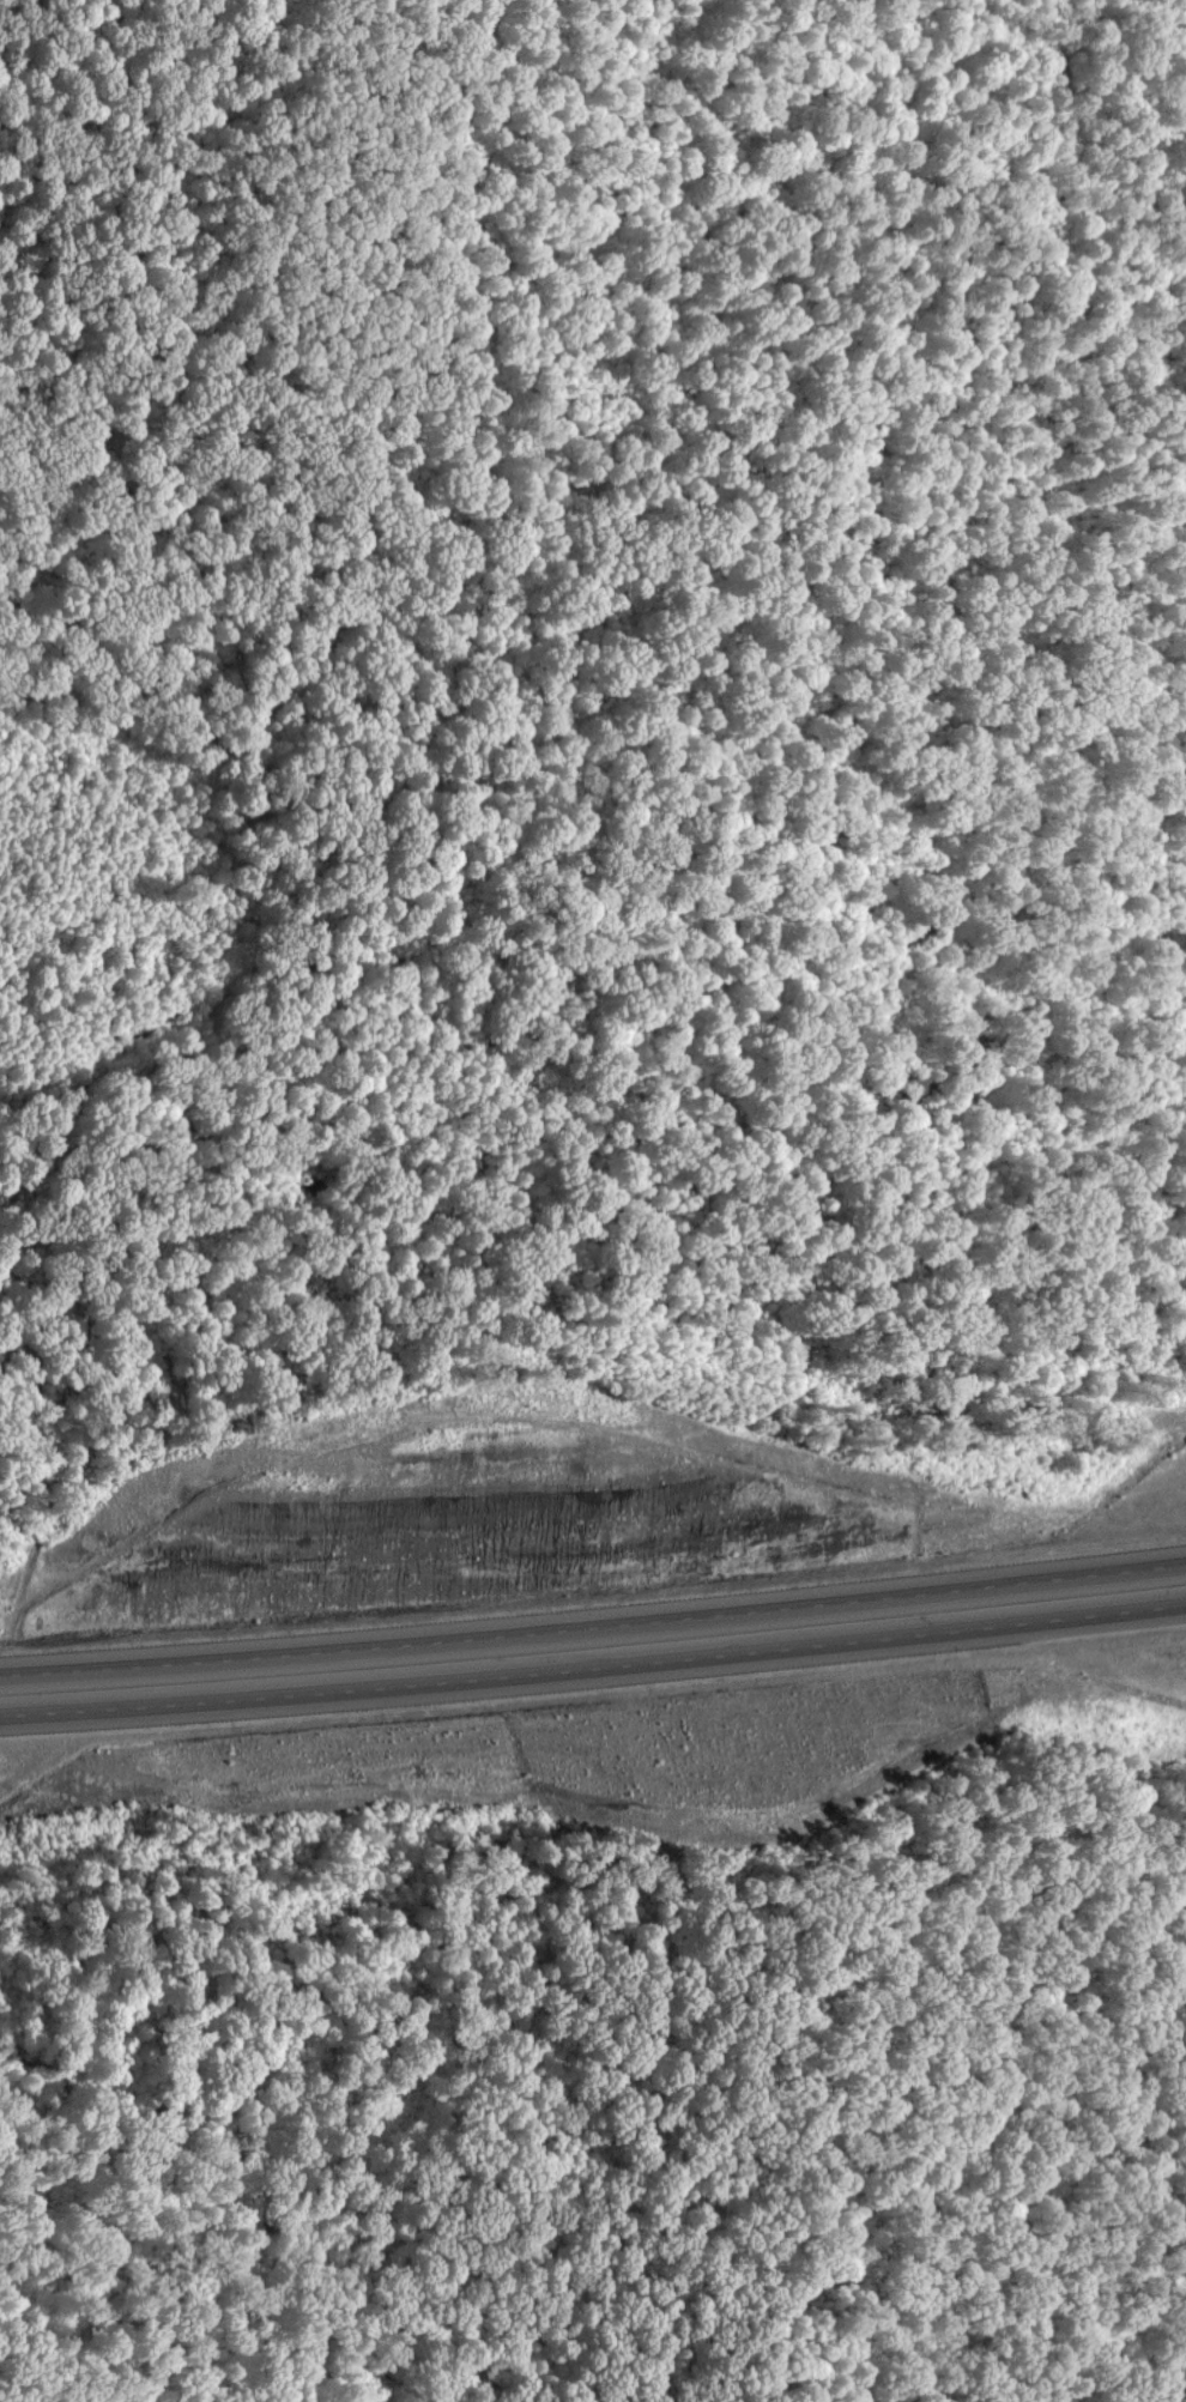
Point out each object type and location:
road: (593, 1628)
road: (593, 1670)

